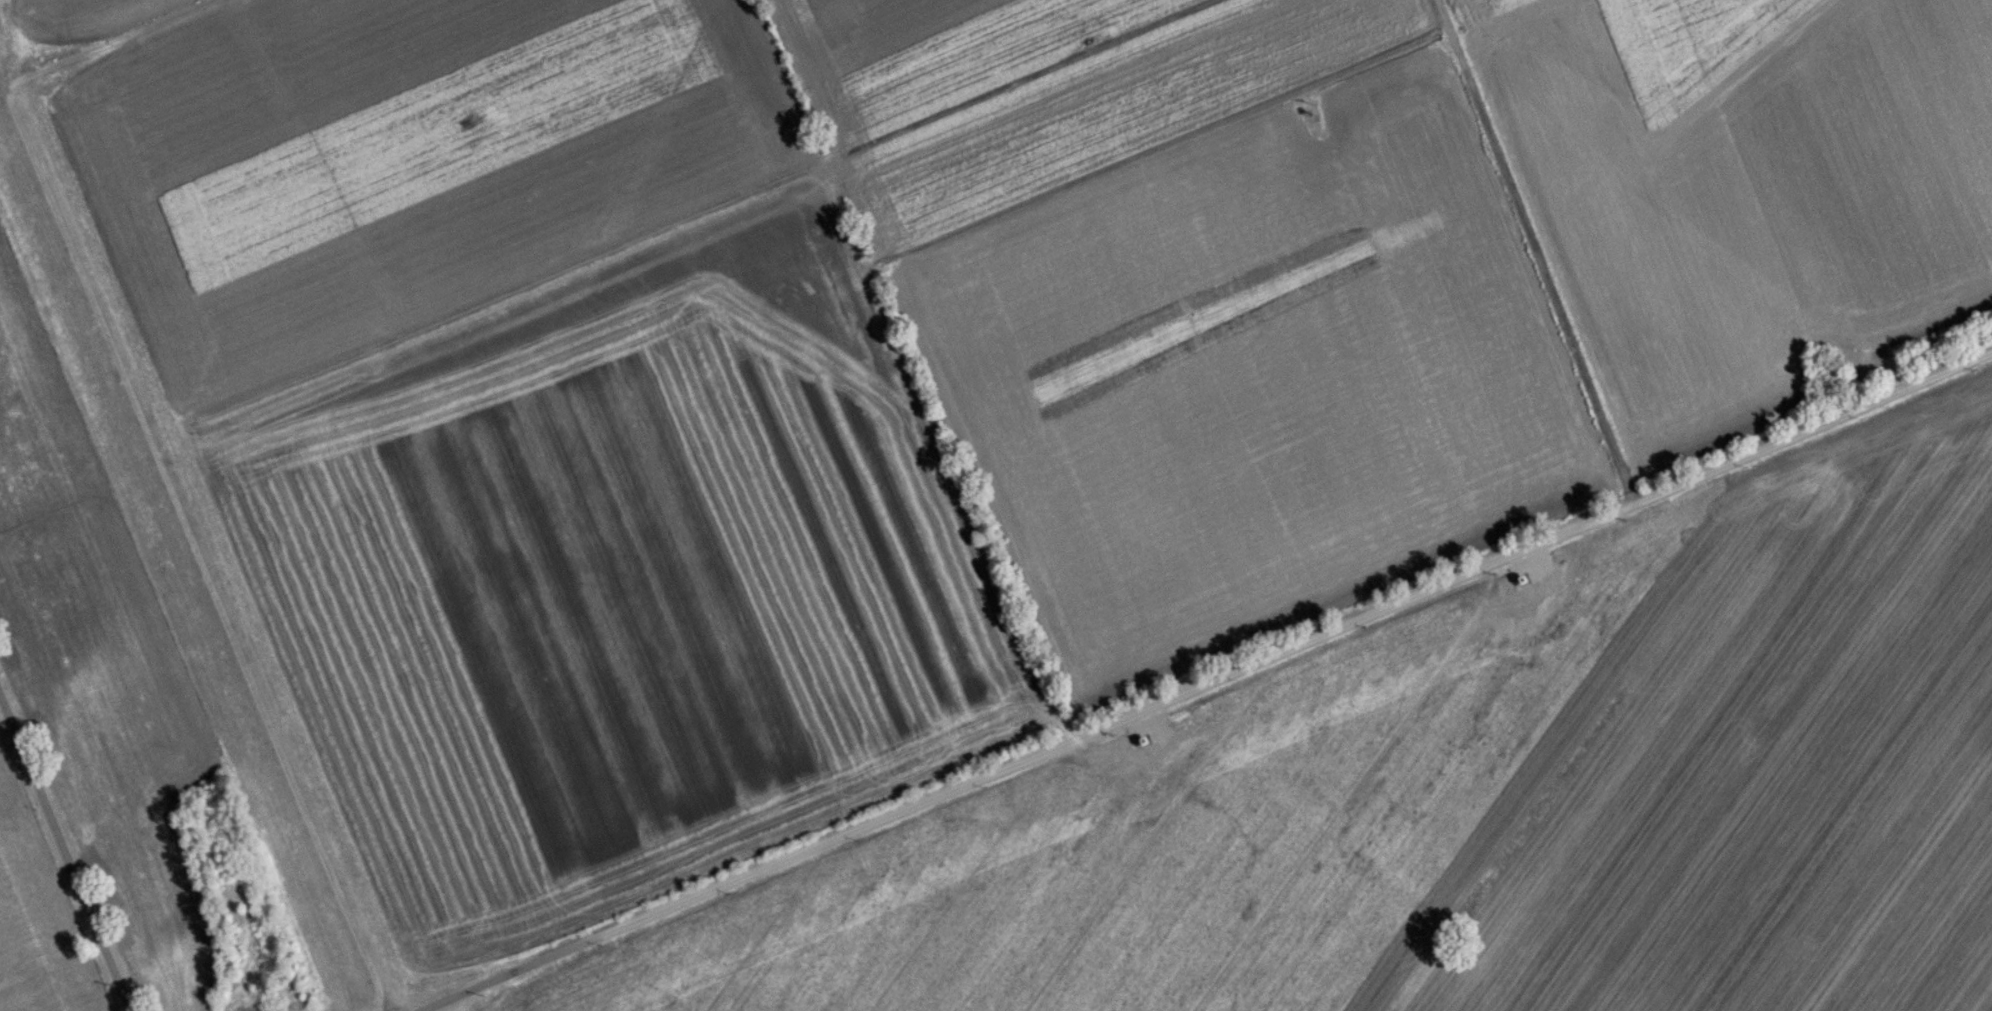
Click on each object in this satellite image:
road: (1204, 682)
road: (36, 771)
road: (102, 935)

